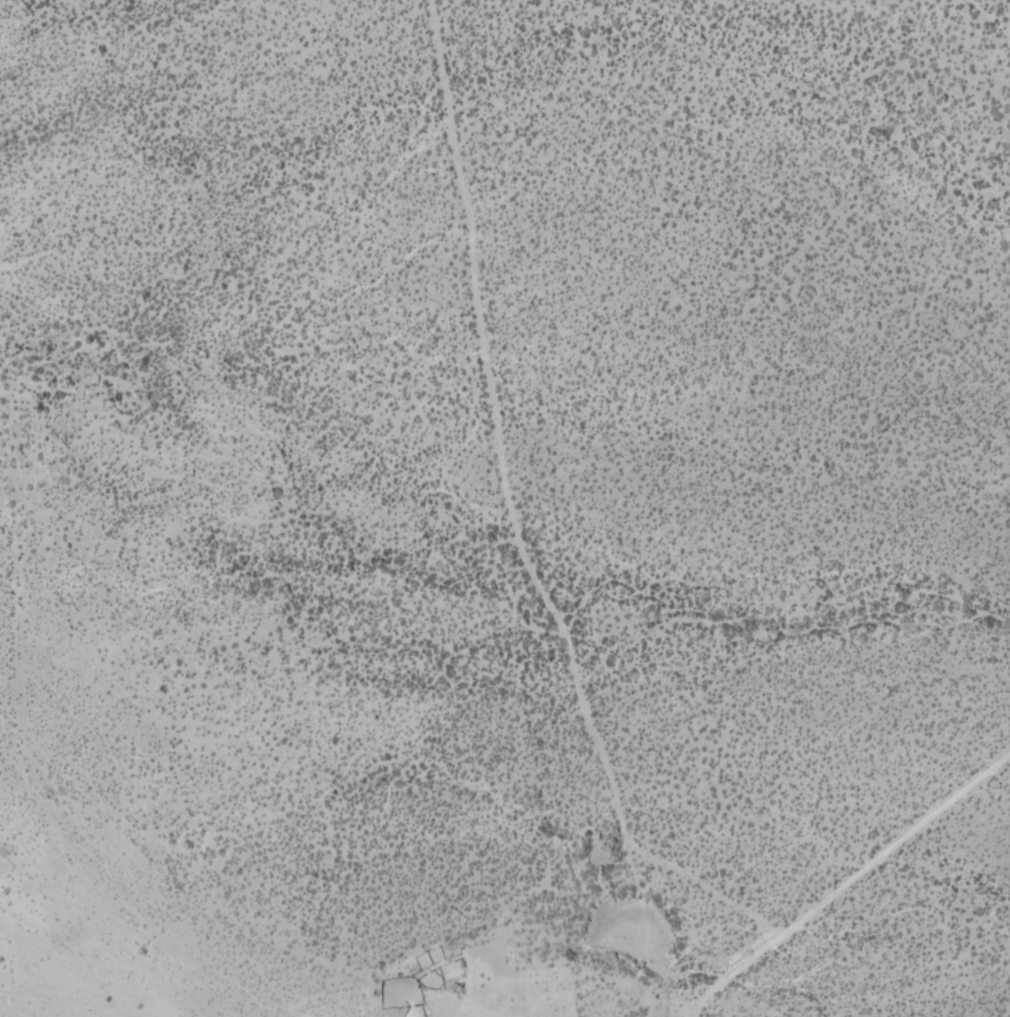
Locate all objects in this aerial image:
road: (768, 767)

